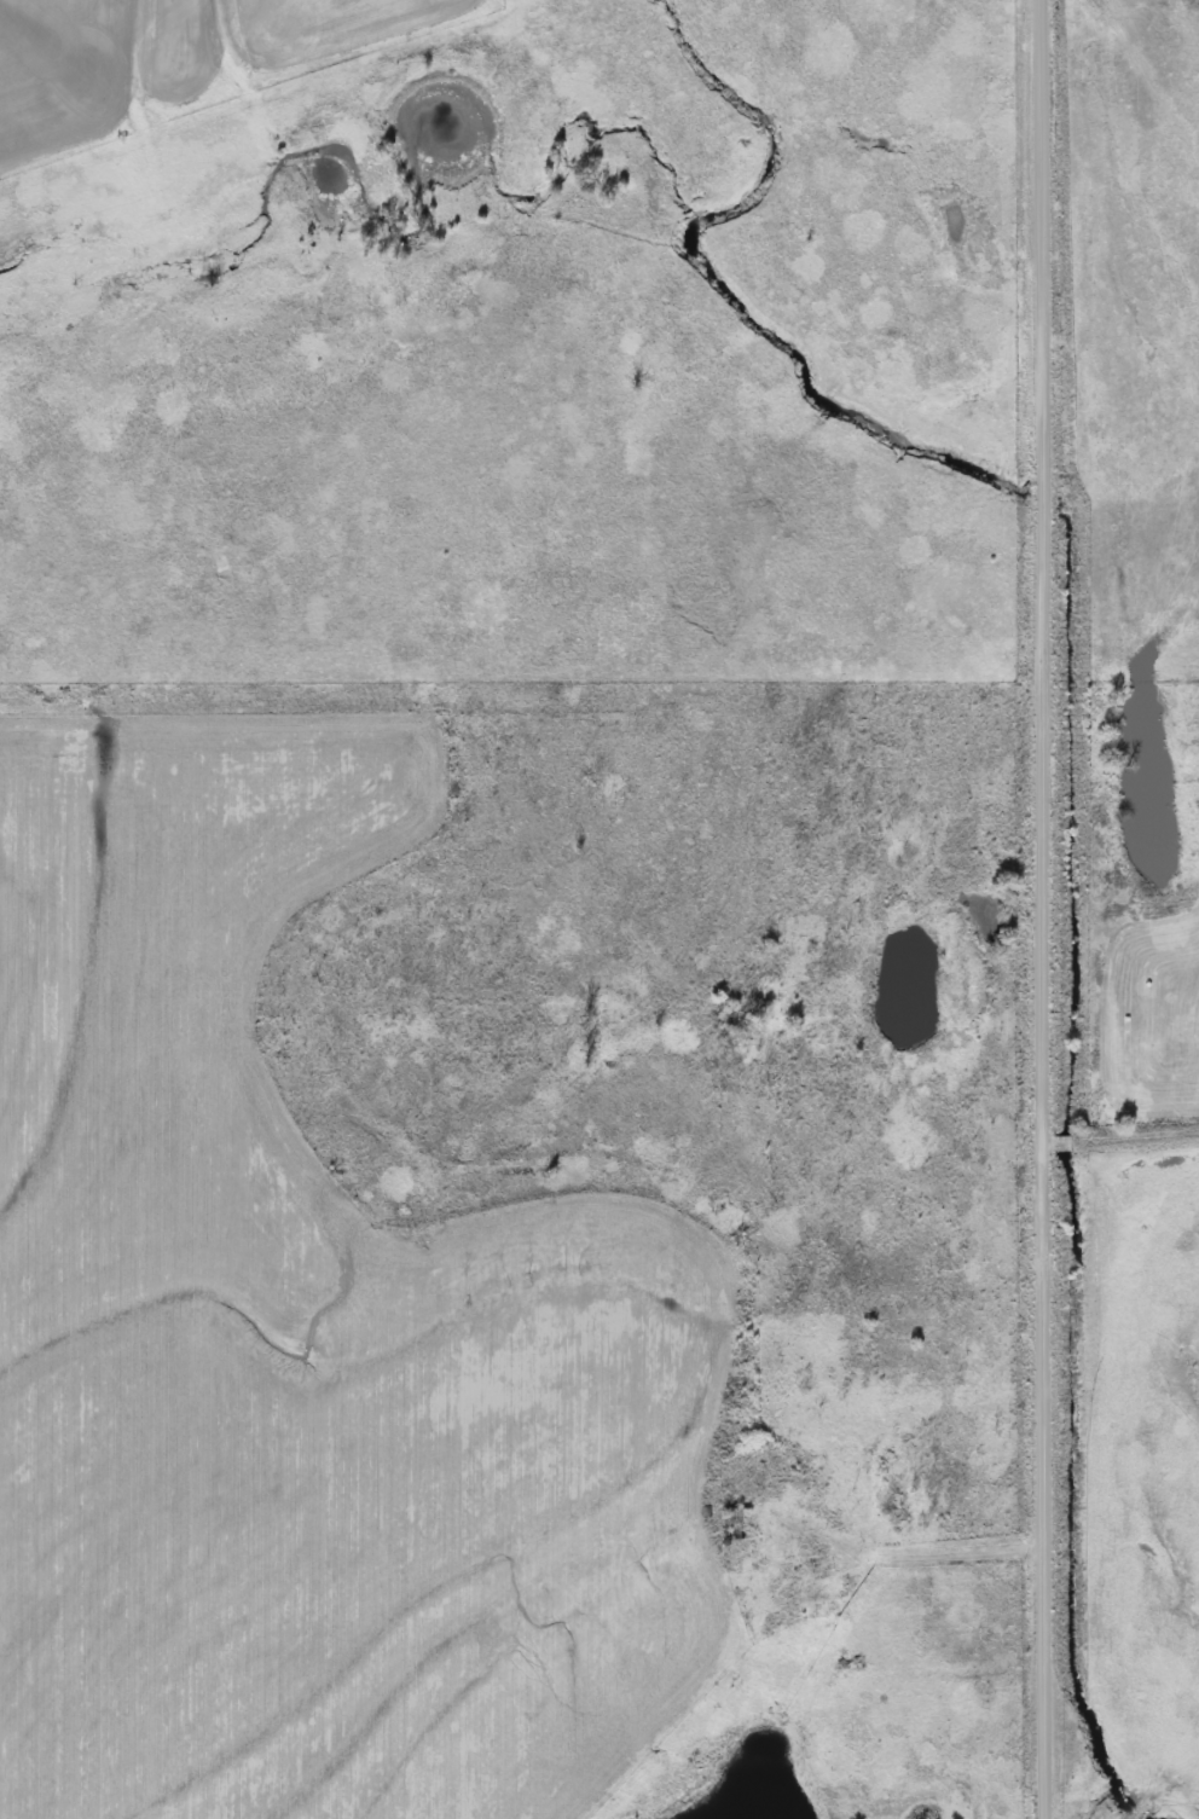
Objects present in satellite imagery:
road: (1043, 909)
road: (1123, 1136)

